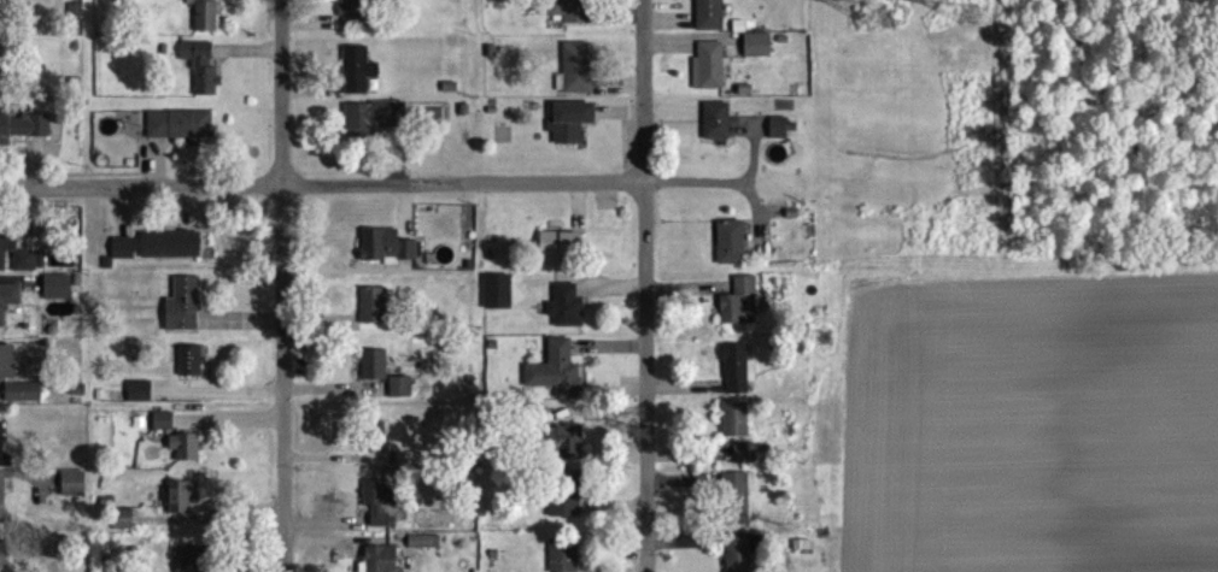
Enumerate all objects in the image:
power tower: (877, 12)
building: (574, 16)
building: (357, 17)
building: (206, 19)
building: (710, 19)
power tower: (965, 24)
building: (759, 54)
building: (712, 75)
building: (203, 76)
building: (579, 77)
building: (359, 78)
building: (375, 126)
building: (573, 130)
building: (719, 130)
building: (182, 132)
building: (779, 136)
building: (24, 137)
road: (753, 159)
road: (321, 184)
road: (695, 184)
road: (756, 216)
building: (7, 249)
building: (732, 252)
building: (172, 253)
building: (561, 255)
building: (124, 256)
building: (27, 270)
road: (283, 285)
road: (644, 285)
building: (59, 296)
building: (499, 301)
building: (8, 309)
building: (742, 312)
building: (186, 314)
building: (375, 314)
building: (568, 314)
power tower: (824, 337)
building: (192, 368)
building: (7, 371)
building: (375, 373)
building: (739, 378)
building: (558, 379)
building: (402, 396)
building: (141, 400)
building: (24, 401)
building: (736, 429)
building: (164, 430)
building: (379, 446)
building: (567, 452)
building: (187, 455)
building: (4, 458)
building: (746, 462)
building: (74, 493)
building: (380, 502)
building: (567, 502)
building: (183, 505)
building: (739, 506)
building: (2, 509)
building: (125, 527)
building: (426, 550)
building: (743, 556)
building: (564, 560)
building: (4, 561)
building: (195, 564)
building: (382, 564)

